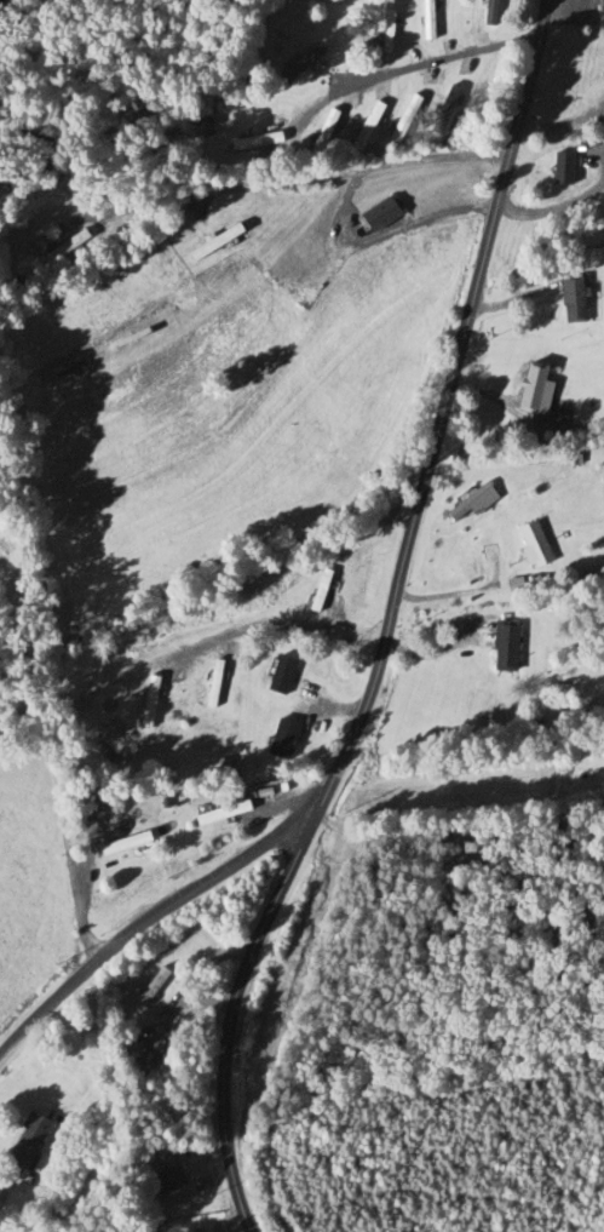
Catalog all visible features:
building: (482, 12)
building: (598, 15)
building: (418, 19)
building: (379, 31)
building: (294, 63)
road: (416, 67)
building: (397, 119)
building: (315, 134)
building: (247, 142)
road: (598, 153)
building: (557, 168)
road: (295, 180)
road: (554, 210)
building: (375, 214)
road: (397, 229)
building: (209, 242)
building: (62, 248)
building: (260, 292)
building: (568, 300)
building: (527, 389)
building: (462, 503)
building: (525, 545)
road: (460, 591)
road: (264, 615)
road: (389, 624)
building: (500, 647)
road: (438, 652)
building: (276, 676)
building: (209, 684)
building: (145, 701)
building: (272, 746)
road: (45, 755)
building: (218, 815)
road: (459, 841)
building: (121, 844)
road: (145, 926)
building: (148, 989)
building: (127, 1050)
building: (25, 1142)
building: (166, 1180)

